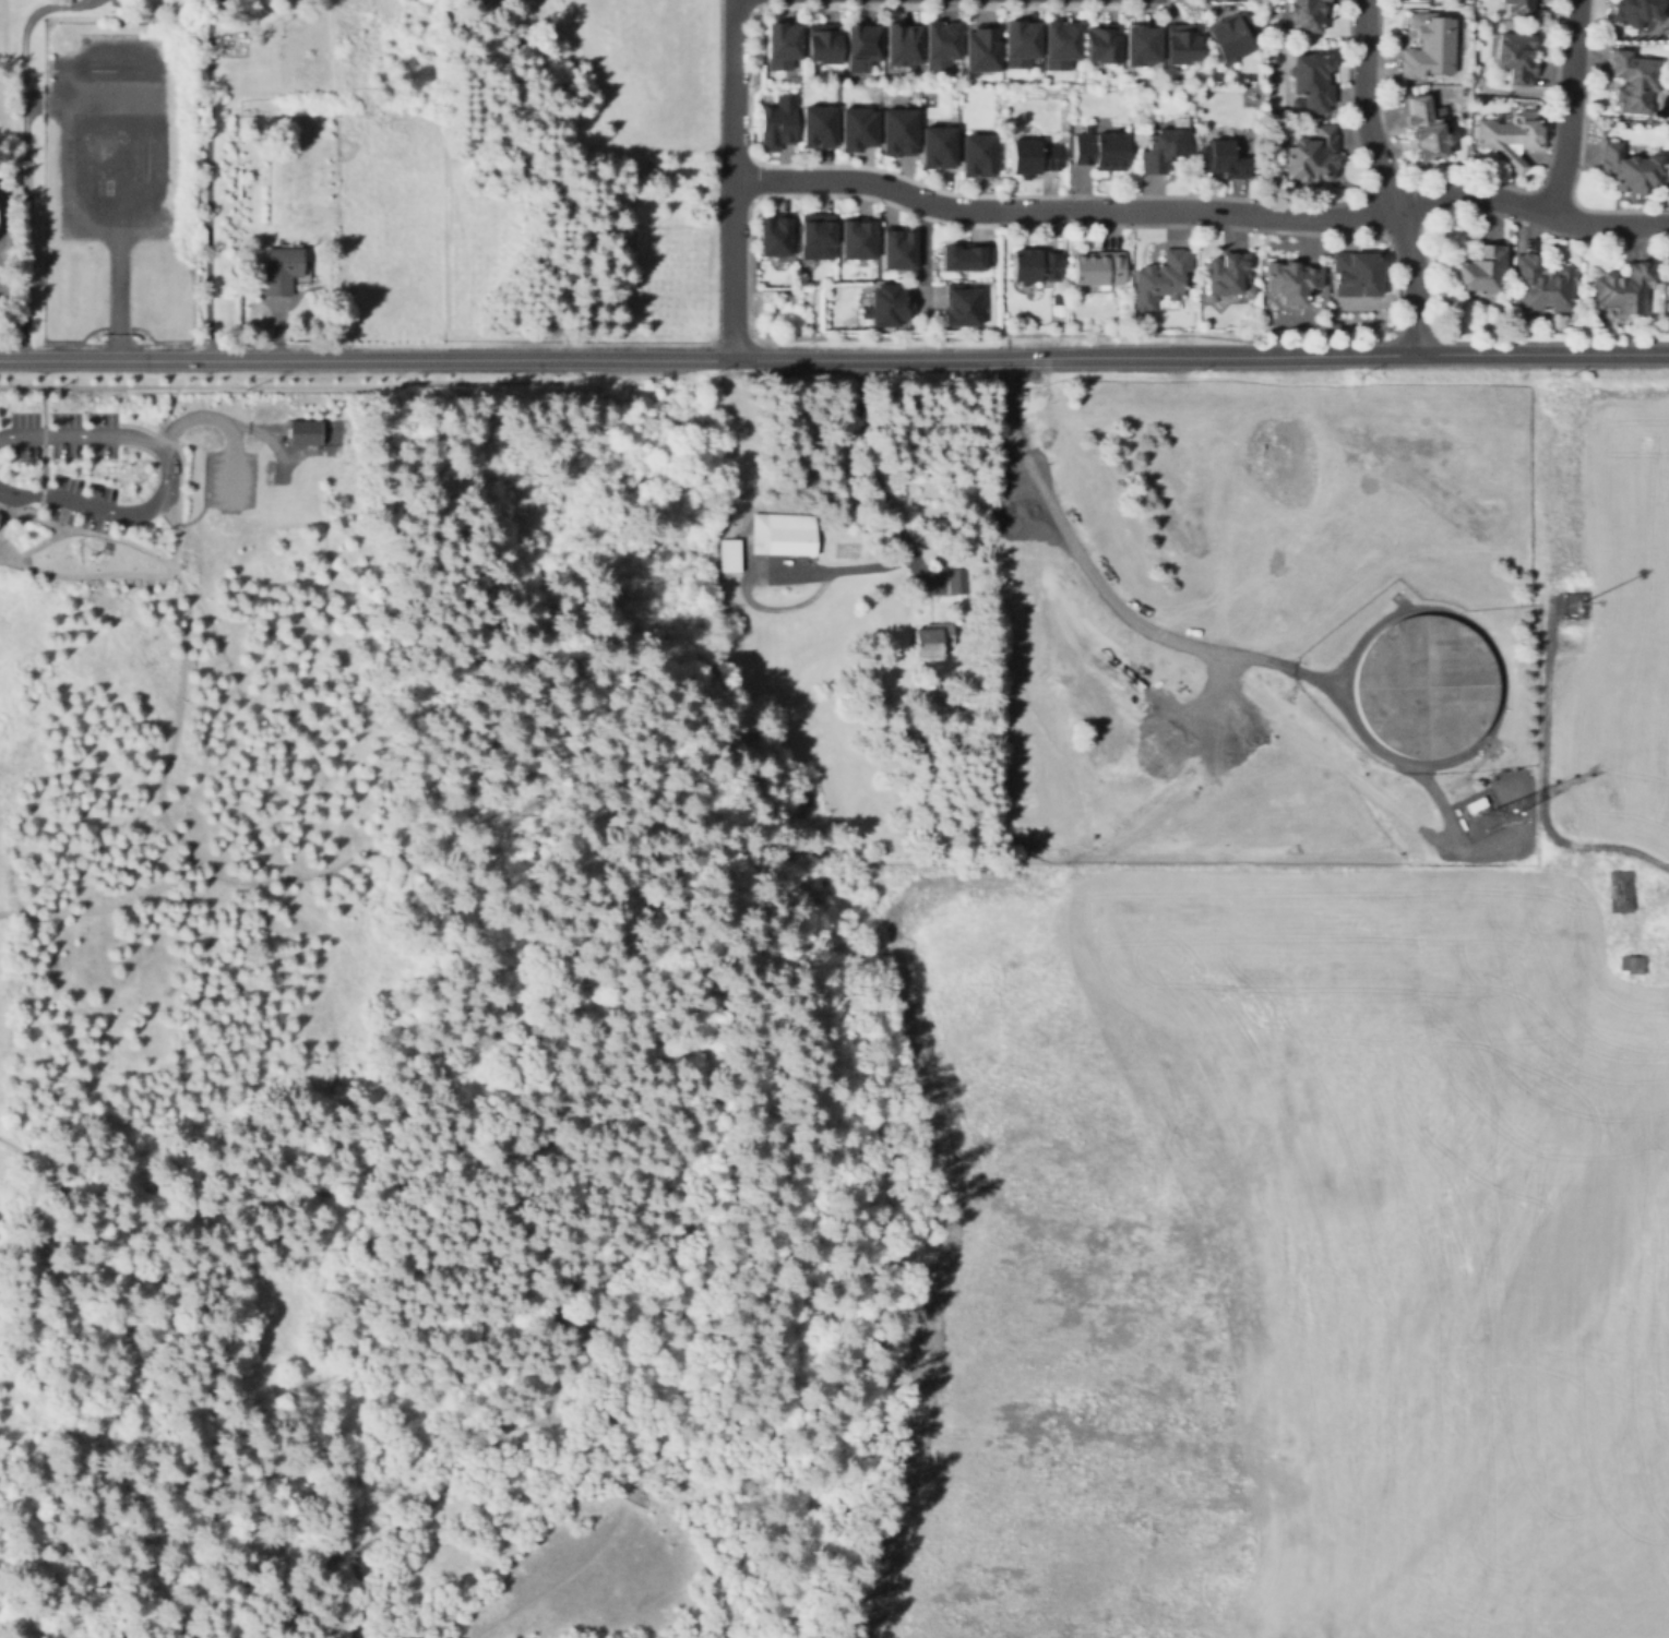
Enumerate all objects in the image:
road: (93, 0)
road: (832, 3)
road: (868, 3)
road: (750, 4)
building: (1519, 7)
building: (1635, 13)
building: (1306, 14)
building: (1229, 37)
building: (784, 44)
building: (825, 45)
building: (1431, 45)
building: (1182, 46)
building: (1022, 47)
building: (1102, 47)
building: (1142, 47)
building: (904, 48)
building: (942, 48)
building: (1062, 48)
building: (863, 49)
building: (981, 49)
building: (1517, 59)
building: (1312, 82)
building: (1636, 84)
road: (1570, 108)
building: (779, 123)
building: (821, 127)
building: (860, 130)
building: (1429, 130)
building: (902, 134)
building: (1509, 139)
building: (940, 148)
building: (1165, 148)
road: (1578, 150)
building: (1102, 153)
parking lot: (108, 154)
building: (1314, 155)
road: (27, 157)
building: (981, 157)
building: (1036, 158)
building: (1224, 160)
road: (873, 167)
building: (1629, 169)
road: (1383, 178)
road: (734, 179)
road: (748, 179)
road: (207, 180)
road: (1471, 181)
road: (1407, 184)
road: (128, 188)
road: (1551, 193)
road: (1203, 208)
building: (820, 238)
building: (776, 239)
building: (860, 242)
building: (902, 252)
road: (923, 254)
building: (968, 259)
road: (1396, 265)
building: (1035, 267)
road: (1426, 268)
building: (1101, 270)
building: (282, 271)
building: (1482, 272)
building: (1229, 273)
building: (1358, 276)
building: (1161, 279)
building: (1294, 283)
building: (1545, 286)
building: (1625, 289)
building: (1057, 298)
building: (889, 309)
building: (963, 309)
road: (1201, 358)
road: (367, 361)
road: (371, 383)
road: (43, 407)
road: (166, 409)
road: (43, 421)
road: (223, 422)
building: (302, 431)
road: (269, 438)
parking lot: (220, 462)
road: (41, 466)
road: (41, 467)
parking lot: (166, 470)
road: (167, 474)
road: (202, 495)
road: (39, 498)
road: (61, 511)
road: (166, 512)
road: (899, 526)
road: (86, 530)
road: (24, 531)
road: (24, 531)
building: (786, 534)
road: (97, 537)
road: (35, 542)
road: (74, 545)
road: (91, 548)
road: (100, 549)
building: (727, 554)
road: (90, 555)
road: (90, 555)
road: (171, 557)
road: (80, 558)
building: (177, 564)
road: (180, 582)
building: (958, 583)
road: (1099, 590)
crop: (1618, 634)
building: (934, 643)
building: (1422, 686)
storage tank: (1422, 686)
road: (171, 748)
road: (1541, 786)
road: (184, 866)
building: (1622, 895)
building: (1634, 964)
road: (442, 1144)
crop: (1302, 1258)
road: (619, 1420)
road: (644, 1493)
road: (396, 1527)

